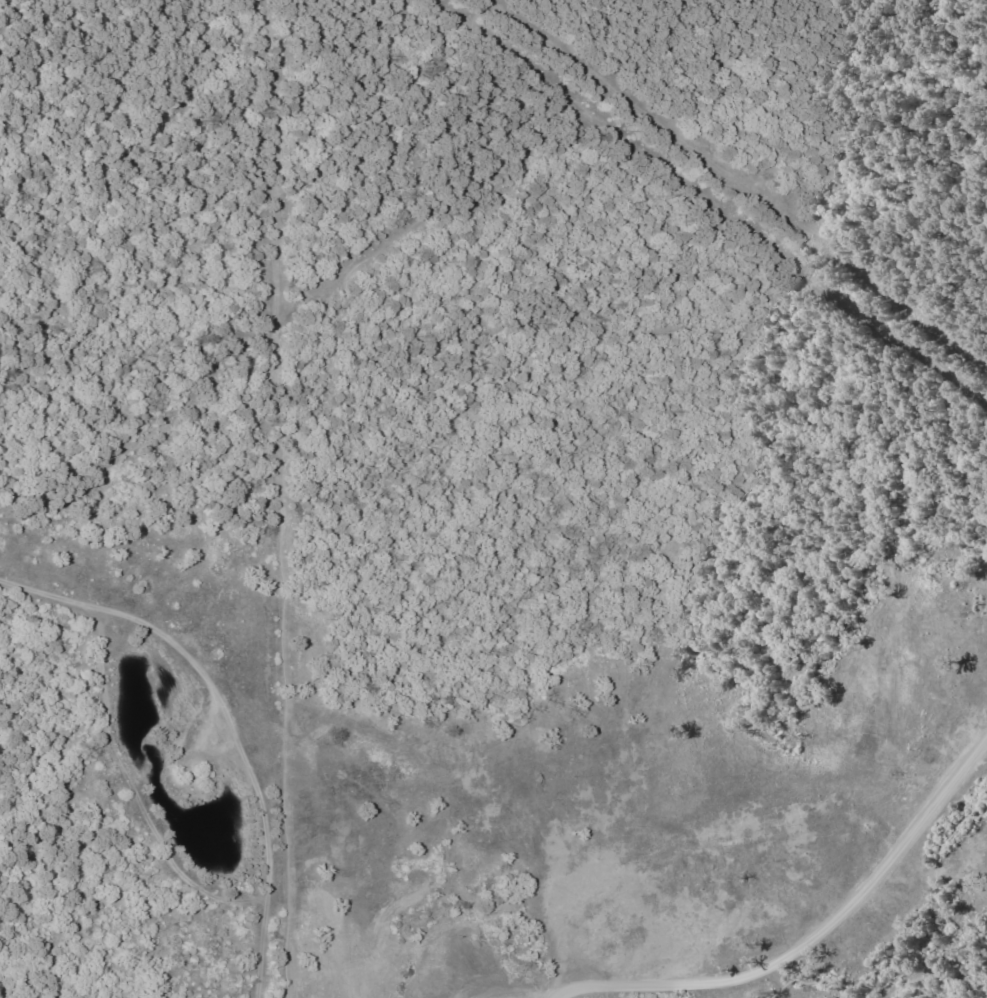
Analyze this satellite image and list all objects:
road: (712, 35)
road: (947, 79)
road: (899, 209)
road: (425, 212)
road: (986, 237)
road: (888, 410)
road: (278, 499)
road: (438, 831)
road: (811, 936)
road: (910, 940)
road: (524, 989)

